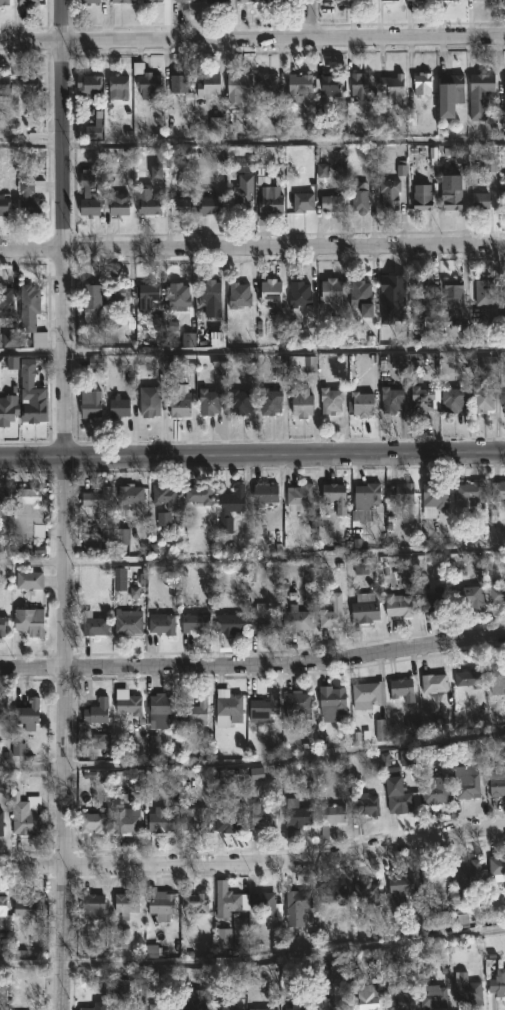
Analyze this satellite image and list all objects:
building: (252, 0)
building: (281, 0)
building: (362, 0)
building: (390, 0)
building: (419, 0)
building: (452, 0)
building: (480, 0)
building: (91, 1)
building: (124, 1)
building: (155, 1)
building: (179, 1)
building: (333, 1)
building: (28, 2)
building: (222, 2)
building: (5, 3)
road: (311, 19)
road: (252, 38)
building: (423, 82)
building: (90, 83)
building: (268, 83)
building: (30, 84)
building: (5, 85)
building: (209, 85)
building: (328, 85)
building: (118, 86)
building: (180, 86)
building: (299, 86)
building: (361, 87)
building: (238, 88)
building: (394, 88)
building: (149, 92)
building: (450, 92)
building: (481, 93)
building: (94, 133)
road: (252, 146)
building: (244, 193)
building: (391, 193)
building: (89, 194)
building: (31, 195)
building: (423, 196)
building: (361, 197)
building: (452, 197)
building: (304, 201)
building: (148, 202)
building: (333, 202)
building: (481, 202)
building: (121, 203)
building: (504, 203)
building: (4, 204)
building: (269, 204)
building: (212, 205)
building: (181, 207)
road: (252, 248)
building: (395, 289)
building: (118, 290)
building: (272, 291)
building: (425, 291)
building: (485, 291)
building: (455, 293)
building: (180, 294)
building: (240, 294)
building: (149, 295)
building: (333, 295)
building: (364, 296)
building: (212, 297)
building: (302, 297)
building: (6, 301)
building: (93, 302)
building: (32, 313)
road: (252, 351)
building: (485, 398)
building: (149, 399)
building: (394, 399)
building: (426, 399)
building: (455, 399)
building: (333, 400)
building: (209, 401)
building: (241, 401)
building: (272, 401)
building: (303, 401)
building: (365, 403)
building: (35, 404)
building: (181, 404)
building: (120, 406)
building: (92, 408)
building: (8, 409)
road: (252, 459)
building: (498, 490)
building: (131, 493)
building: (267, 493)
building: (402, 493)
building: (470, 493)
building: (199, 494)
building: (335, 494)
building: (166, 495)
building: (2, 497)
building: (95, 497)
building: (301, 497)
building: (368, 497)
building: (434, 498)
road: (67, 505)
building: (231, 508)
building: (28, 510)
road: (252, 562)
building: (29, 579)
building: (497, 593)
building: (468, 595)
building: (434, 599)
building: (400, 605)
building: (366, 608)
building: (333, 612)
building: (263, 617)
building: (297, 619)
building: (31, 621)
building: (194, 622)
building: (128, 623)
building: (163, 623)
building: (230, 623)
building: (3, 625)
building: (94, 625)
road: (253, 662)
building: (469, 678)
building: (498, 679)
building: (435, 683)
building: (404, 689)
building: (370, 694)
building: (334, 702)
building: (130, 704)
building: (299, 705)
building: (3, 707)
building: (229, 707)
building: (264, 708)
building: (161, 709)
building: (197, 710)
building: (97, 712)
building: (29, 714)
road: (253, 767)
building: (470, 781)
building: (498, 785)
building: (434, 792)
building: (404, 798)
building: (367, 805)
building: (124, 816)
building: (297, 816)
building: (229, 817)
building: (263, 817)
building: (331, 818)
building: (196, 820)
building: (160, 821)
building: (1, 822)
building: (94, 822)
building: (27, 823)
road: (253, 862)
building: (496, 865)
building: (473, 871)
building: (436, 881)
building: (401, 887)
building: (367, 892)
building: (335, 895)
building: (299, 899)
building: (228, 900)
building: (264, 902)
building: (161, 903)
building: (197, 903)
building: (127, 904)
building: (30, 906)
building: (94, 906)
building: (433, 913)
building: (4, 914)
road: (253, 965)
building: (498, 981)
building: (467, 988)
building: (121, 991)
building: (368, 997)
building: (435, 997)
building: (401, 999)
building: (329, 1000)
building: (223, 1002)
building: (195, 1005)
building: (97, 1006)
building: (160, 1006)
building: (134, 1008)
building: (299, 1008)
building: (264, 1009)

